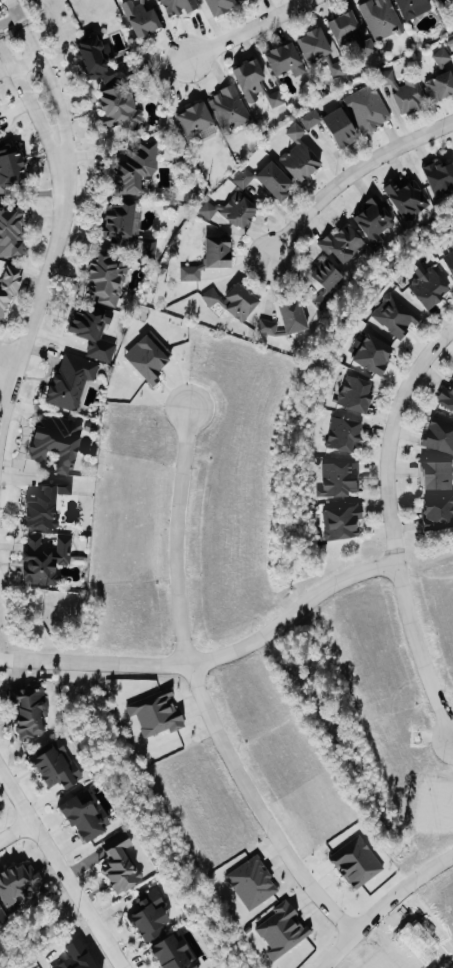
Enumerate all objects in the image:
building: (240, 0)
building: (434, 0)
building: (219, 5)
building: (179, 6)
road: (13, 7)
building: (413, 7)
building: (141, 17)
road: (8, 18)
building: (381, 18)
road: (247, 30)
building: (350, 34)
building: (313, 44)
building: (442, 57)
building: (285, 59)
building: (98, 60)
road: (25, 62)
building: (249, 79)
road: (50, 82)
building: (440, 86)
building: (404, 91)
building: (275, 98)
road: (29, 100)
building: (119, 108)
building: (229, 108)
building: (368, 108)
building: (196, 121)
building: (332, 125)
building: (0, 131)
building: (299, 155)
building: (10, 166)
building: (135, 167)
road: (349, 174)
building: (244, 177)
building: (440, 179)
building: (274, 181)
building: (407, 198)
building: (231, 211)
building: (375, 219)
building: (120, 224)
building: (11, 232)
building: (342, 243)
building: (146, 247)
building: (217, 251)
building: (449, 261)
building: (194, 272)
building: (107, 278)
building: (325, 282)
building: (428, 286)
building: (9, 287)
road: (39, 291)
building: (234, 301)
building: (395, 315)
building: (293, 316)
building: (267, 326)
building: (94, 332)
building: (373, 354)
building: (148, 357)
road: (7, 364)
building: (71, 380)
building: (355, 394)
building: (446, 397)
building: (343, 434)
building: (439, 435)
building: (56, 441)
building: (436, 475)
building: (339, 479)
building: (45, 504)
building: (438, 513)
building: (342, 522)
road: (391, 525)
building: (45, 560)
road: (210, 657)
road: (199, 694)
building: (30, 710)
building: (156, 713)
building: (55, 765)
building: (85, 817)
road: (15, 832)
building: (357, 861)
building: (121, 866)
road: (60, 870)
building: (19, 882)
building: (252, 882)
road: (382, 905)
building: (149, 915)
building: (2, 917)
building: (282, 929)
building: (173, 953)

